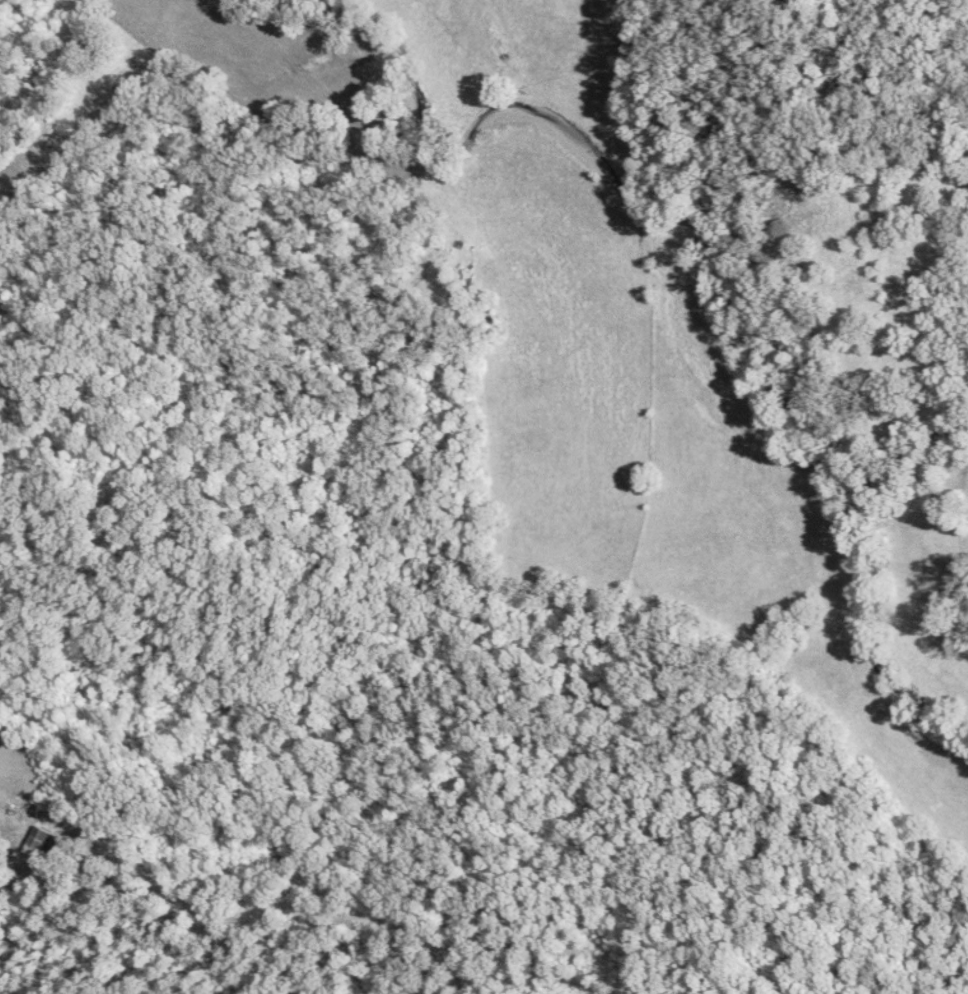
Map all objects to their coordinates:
building: (47, 844)

